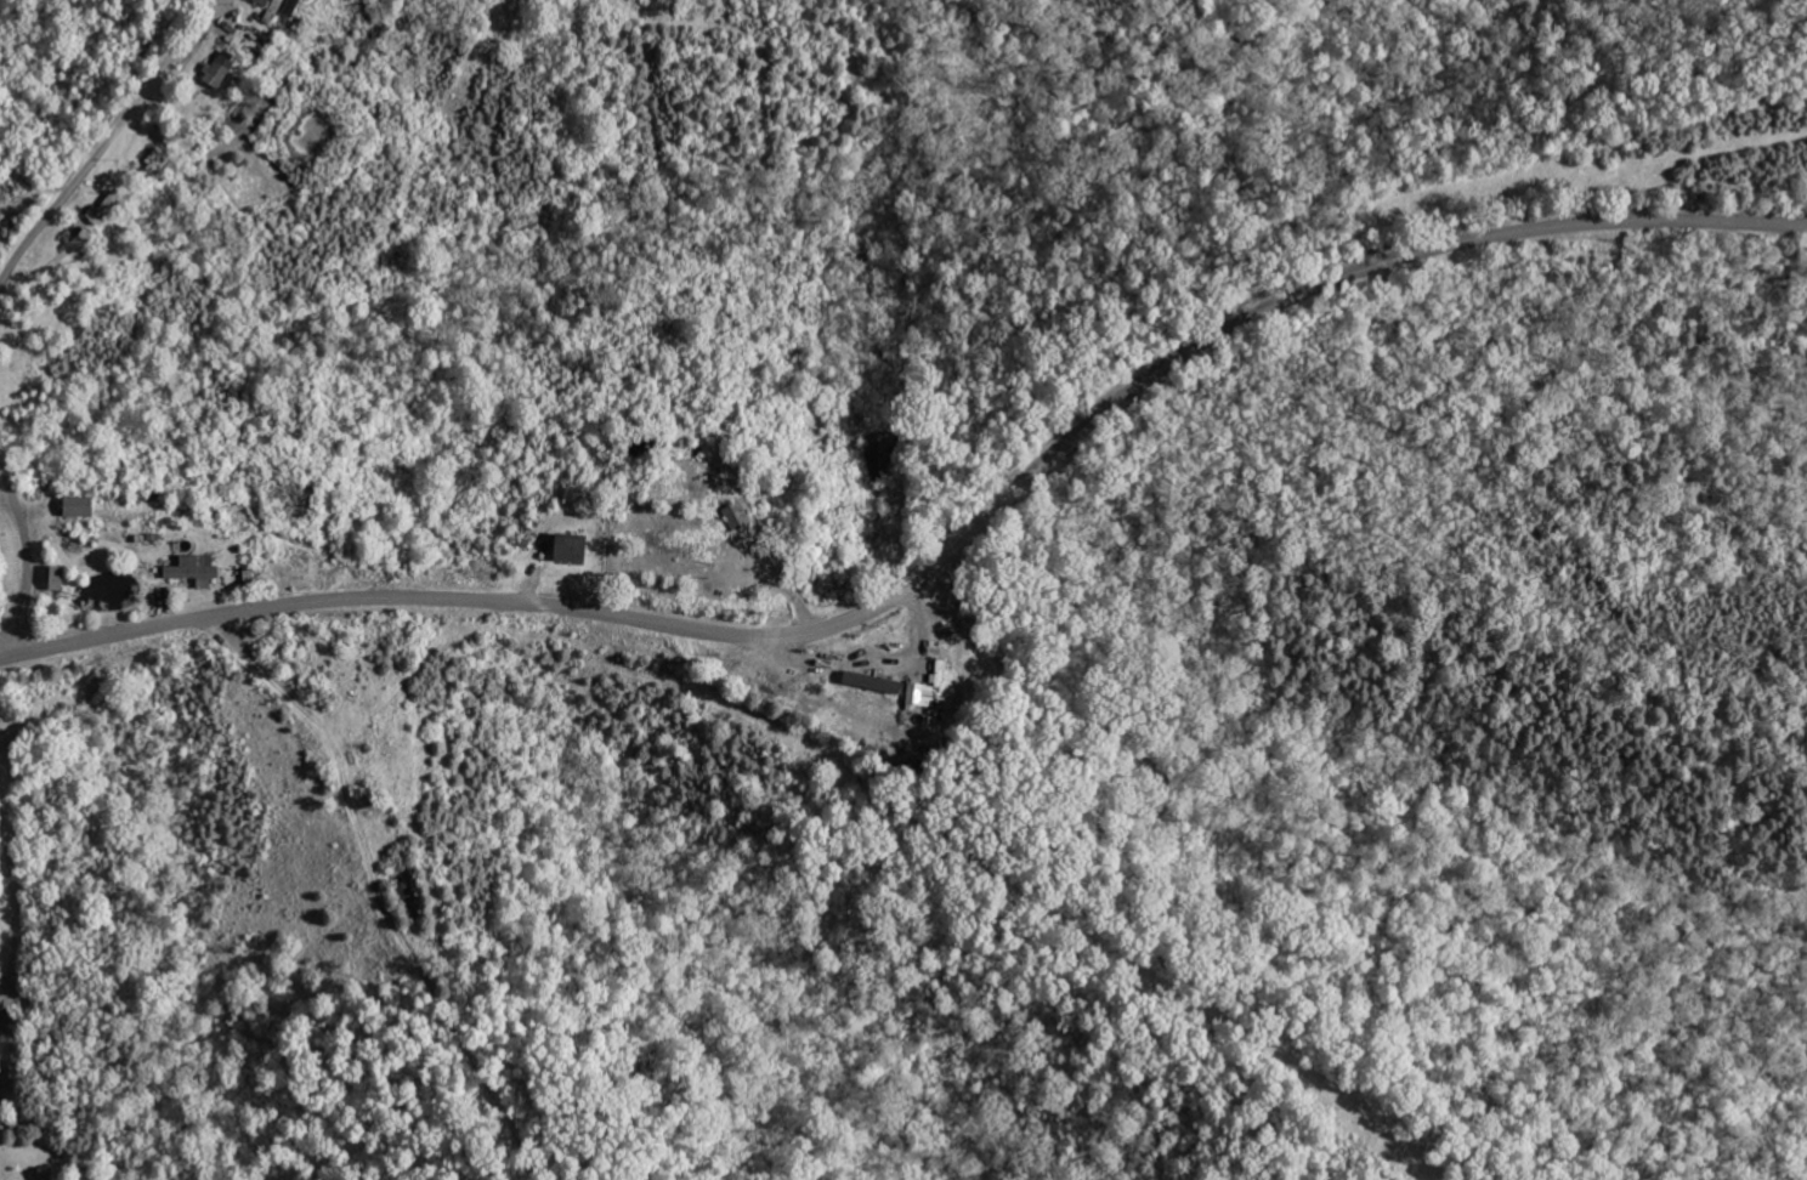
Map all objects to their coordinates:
building: (273, 8)
building: (222, 70)
road: (107, 135)
building: (73, 506)
building: (563, 546)
road: (938, 556)
road: (24, 561)
building: (189, 567)
road: (861, 660)
building: (865, 681)
building: (916, 694)
road: (16, 896)

